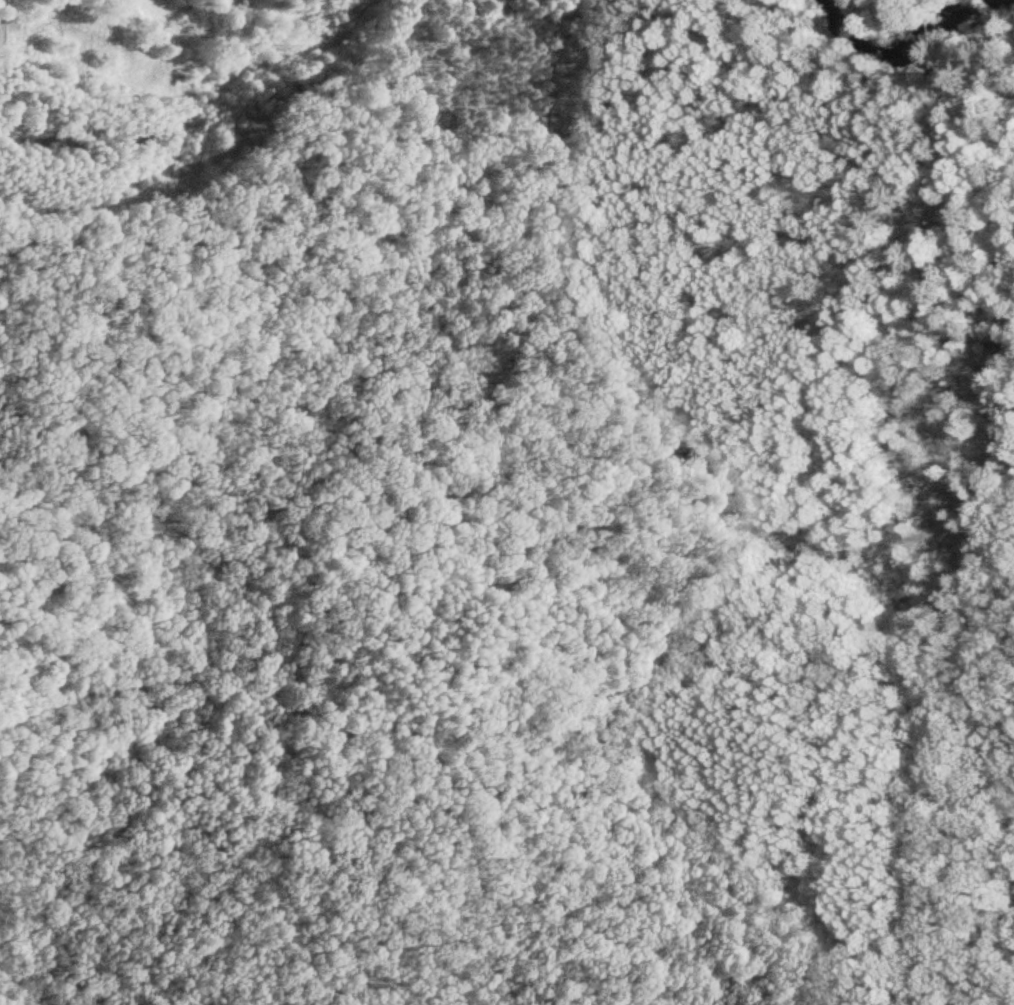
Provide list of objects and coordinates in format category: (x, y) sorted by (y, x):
river: (906, 36)

